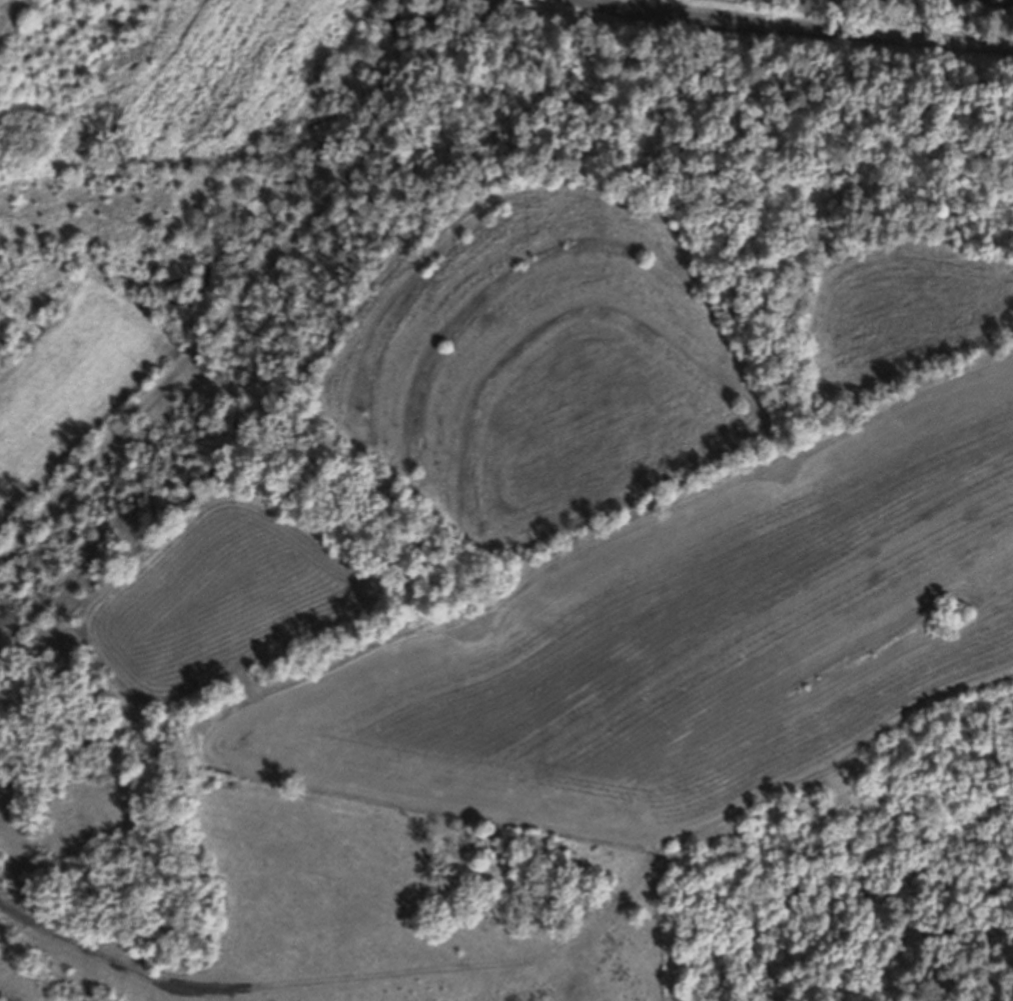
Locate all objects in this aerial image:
road: (795, 30)
road: (249, 280)

